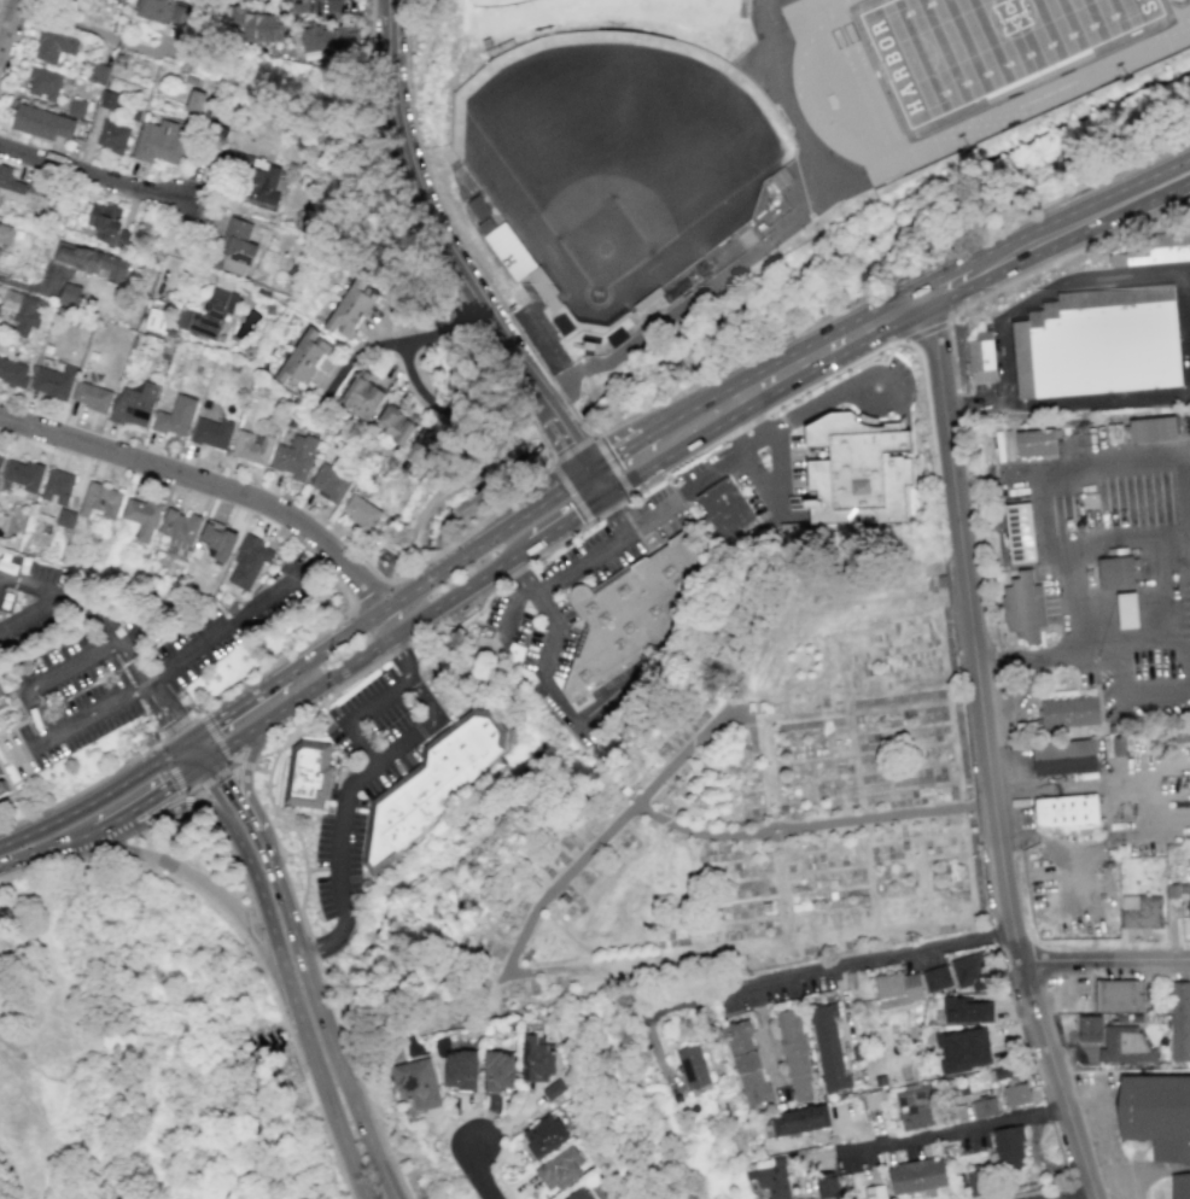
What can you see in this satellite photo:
park: (491, 1)
building: (153, 10)
building: (180, 22)
road: (7, 24)
building: (256, 27)
road: (94, 34)
building: (53, 46)
track: (963, 54)
building: (43, 83)
building: (107, 100)
building: (194, 101)
building: (76, 107)
building: (41, 123)
building: (112, 136)
building: (161, 141)
park: (614, 157)
road: (94, 175)
building: (253, 177)
building: (10, 181)
building: (35, 189)
road: (426, 209)
building: (107, 224)
building: (6, 234)
road: (772, 236)
river: (883, 240)
building: (235, 247)
building: (1153, 250)
building: (511, 252)
building: (92, 262)
road: (1034, 271)
road: (953, 281)
road: (22, 286)
building: (69, 294)
building: (0, 302)
building: (351, 309)
building: (23, 311)
building: (208, 314)
building: (154, 320)
building: (1099, 344)
road: (412, 346)
road: (364, 352)
building: (302, 359)
building: (982, 359)
building: (12, 373)
building: (52, 381)
building: (361, 396)
building: (92, 397)
road: (819, 404)
building: (134, 405)
road: (896, 405)
building: (175, 416)
building: (396, 425)
road: (731, 429)
river: (562, 431)
building: (1156, 431)
building: (211, 433)
road: (571, 443)
road: (756, 443)
road: (774, 443)
building: (1039, 445)
building: (251, 446)
building: (420, 448)
road: (801, 454)
building: (293, 456)
building: (0, 457)
road: (714, 469)
traffic signals: (589, 472)
building: (852, 472)
building: (19, 478)
road: (657, 480)
building: (328, 482)
road: (208, 484)
building: (56, 487)
river: (477, 490)
traffic signals: (602, 496)
road: (768, 496)
building: (100, 501)
building: (724, 510)
building: (360, 513)
building: (64, 517)
building: (141, 517)
road: (649, 517)
building: (180, 528)
building: (1022, 533)
building: (217, 540)
road: (597, 550)
road: (454, 558)
building: (247, 562)
road: (521, 574)
building: (1120, 574)
road: (469, 583)
road: (29, 586)
river: (442, 592)
road: (509, 608)
building: (1028, 608)
road: (95, 609)
road: (29, 610)
road: (398, 610)
parking lot: (527, 612)
building: (1131, 613)
building: (626, 614)
road: (327, 625)
road: (222, 631)
road: (1064, 653)
parking lot: (116, 654)
road: (398, 660)
road: (134, 662)
road: (72, 667)
road: (402, 688)
road: (550, 696)
building: (4, 697)
road: (422, 700)
road: (162, 703)
road: (98, 710)
road: (35, 715)
building: (1078, 718)
road: (182, 719)
road: (185, 729)
road: (167, 730)
road: (179, 733)
traffic signals: (194, 735)
traffic signals: (181, 744)
road: (202, 745)
road: (30, 747)
road: (986, 750)
road: (367, 751)
road: (686, 751)
road: (187, 755)
traffic signals: (210, 756)
road: (202, 761)
road: (229, 761)
building: (1074, 764)
road: (243, 765)
road: (244, 765)
traffic signals: (194, 767)
parking lot: (364, 772)
building: (307, 774)
road: (174, 777)
building: (428, 785)
road: (1068, 786)
road: (83, 788)
building: (6, 791)
road: (211, 792)
road: (97, 796)
road: (144, 801)
road: (340, 806)
river: (500, 806)
park: (727, 809)
building: (1064, 813)
road: (159, 814)
road: (244, 815)
road: (889, 817)
road: (156, 825)
road: (770, 825)
road: (176, 835)
road: (771, 837)
road: (594, 846)
road: (46, 847)
road: (112, 847)
road: (0, 856)
road: (92, 856)
road: (165, 864)
road: (189, 873)
building: (1179, 894)
building: (1139, 911)
road: (342, 922)
road: (245, 943)
road: (1106, 960)
road: (588, 965)
road: (822, 972)
building: (969, 972)
road: (322, 977)
building: (935, 978)
building: (897, 989)
parking lot: (1074, 992)
building: (1118, 996)
road: (298, 1007)
building: (967, 1011)
river: (314, 1014)
building: (1179, 1022)
building: (1089, 1029)
road: (328, 1040)
building: (1124, 1046)
building: (828, 1047)
building: (963, 1049)
building: (794, 1055)
building: (535, 1060)
building: (746, 1064)
building: (692, 1068)
building: (460, 1069)
building: (498, 1071)
building: (416, 1084)
building: (553, 1089)
building: (1015, 1095)
building: (978, 1105)
building: (915, 1106)
building: (1156, 1116)
river: (274, 1121)
building: (799, 1121)
road: (957, 1134)
building: (543, 1136)
building: (1007, 1147)
building: (559, 1169)
road: (483, 1175)
building: (916, 1175)
road: (1120, 1176)
building: (770, 1177)
building: (826, 1185)
building: (974, 1186)
building: (1179, 1186)
building: (874, 1192)
road: (1055, 1192)
road: (1144, 1194)
building: (581, 1195)

